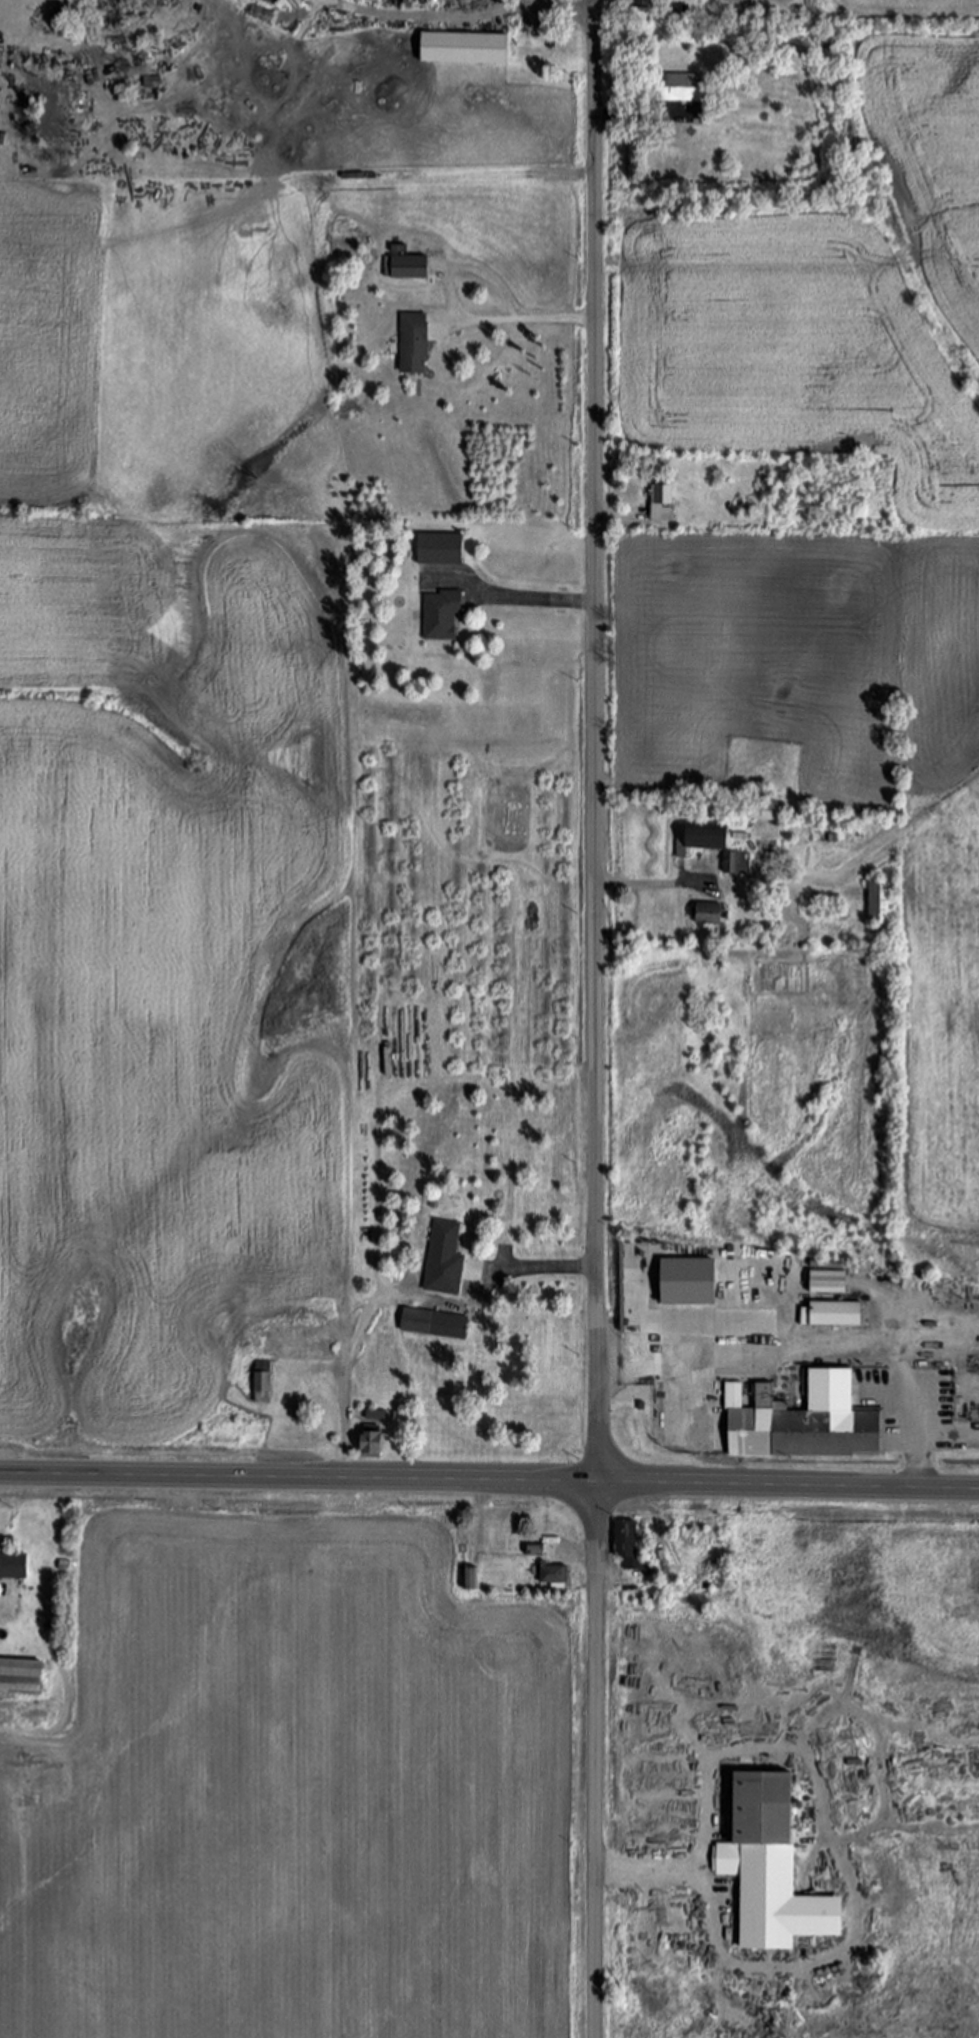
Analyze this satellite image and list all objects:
road: (544, 7)
building: (466, 49)
building: (153, 81)
building: (682, 89)
road: (637, 117)
building: (407, 267)
road: (457, 315)
building: (415, 343)
building: (661, 503)
road: (615, 517)
building: (441, 549)
road: (537, 600)
building: (442, 615)
building: (765, 812)
building: (700, 839)
building: (736, 863)
road: (653, 885)
building: (880, 902)
building: (711, 914)
road: (595, 1018)
building: (453, 1259)
road: (529, 1271)
building: (694, 1281)
building: (829, 1282)
building: (837, 1314)
building: (435, 1325)
building: (308, 1342)
road: (818, 1349)
building: (263, 1388)
building: (378, 1414)
building: (807, 1421)
road: (346, 1436)
building: (374, 1445)
road: (489, 1482)
building: (629, 1545)
building: (539, 1548)
building: (14, 1564)
building: (555, 1576)
building: (471, 1580)
building: (23, 1678)
road: (643, 1866)
building: (773, 1867)

